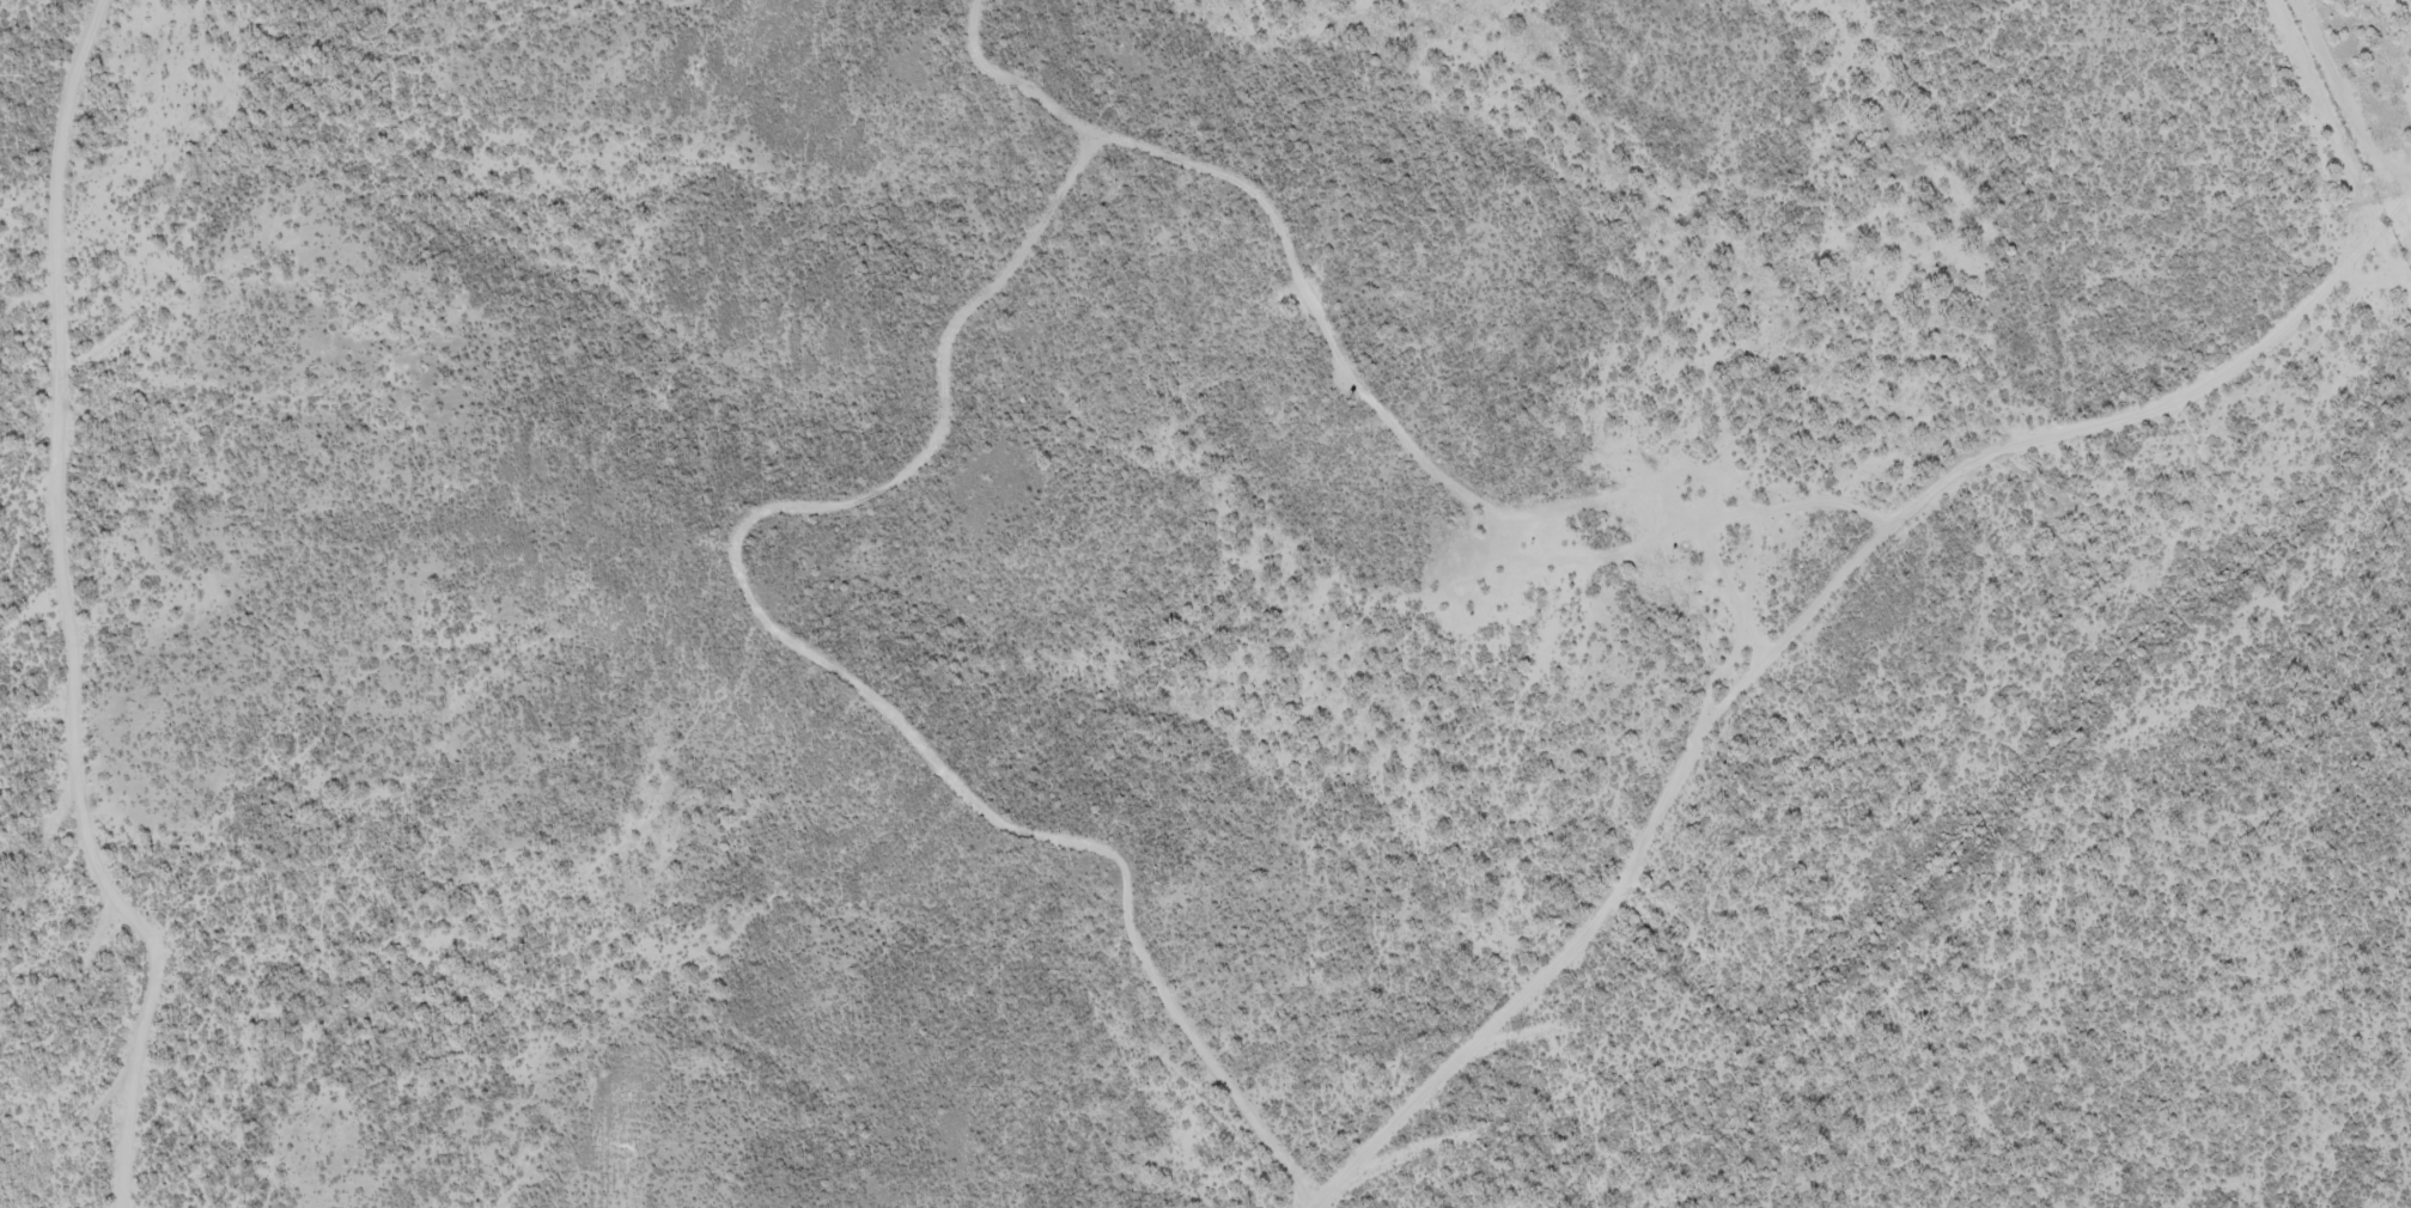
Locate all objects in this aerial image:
road: (2334, 108)
road: (1998, 205)
road: (2398, 243)
road: (66, 620)
road: (1807, 623)

